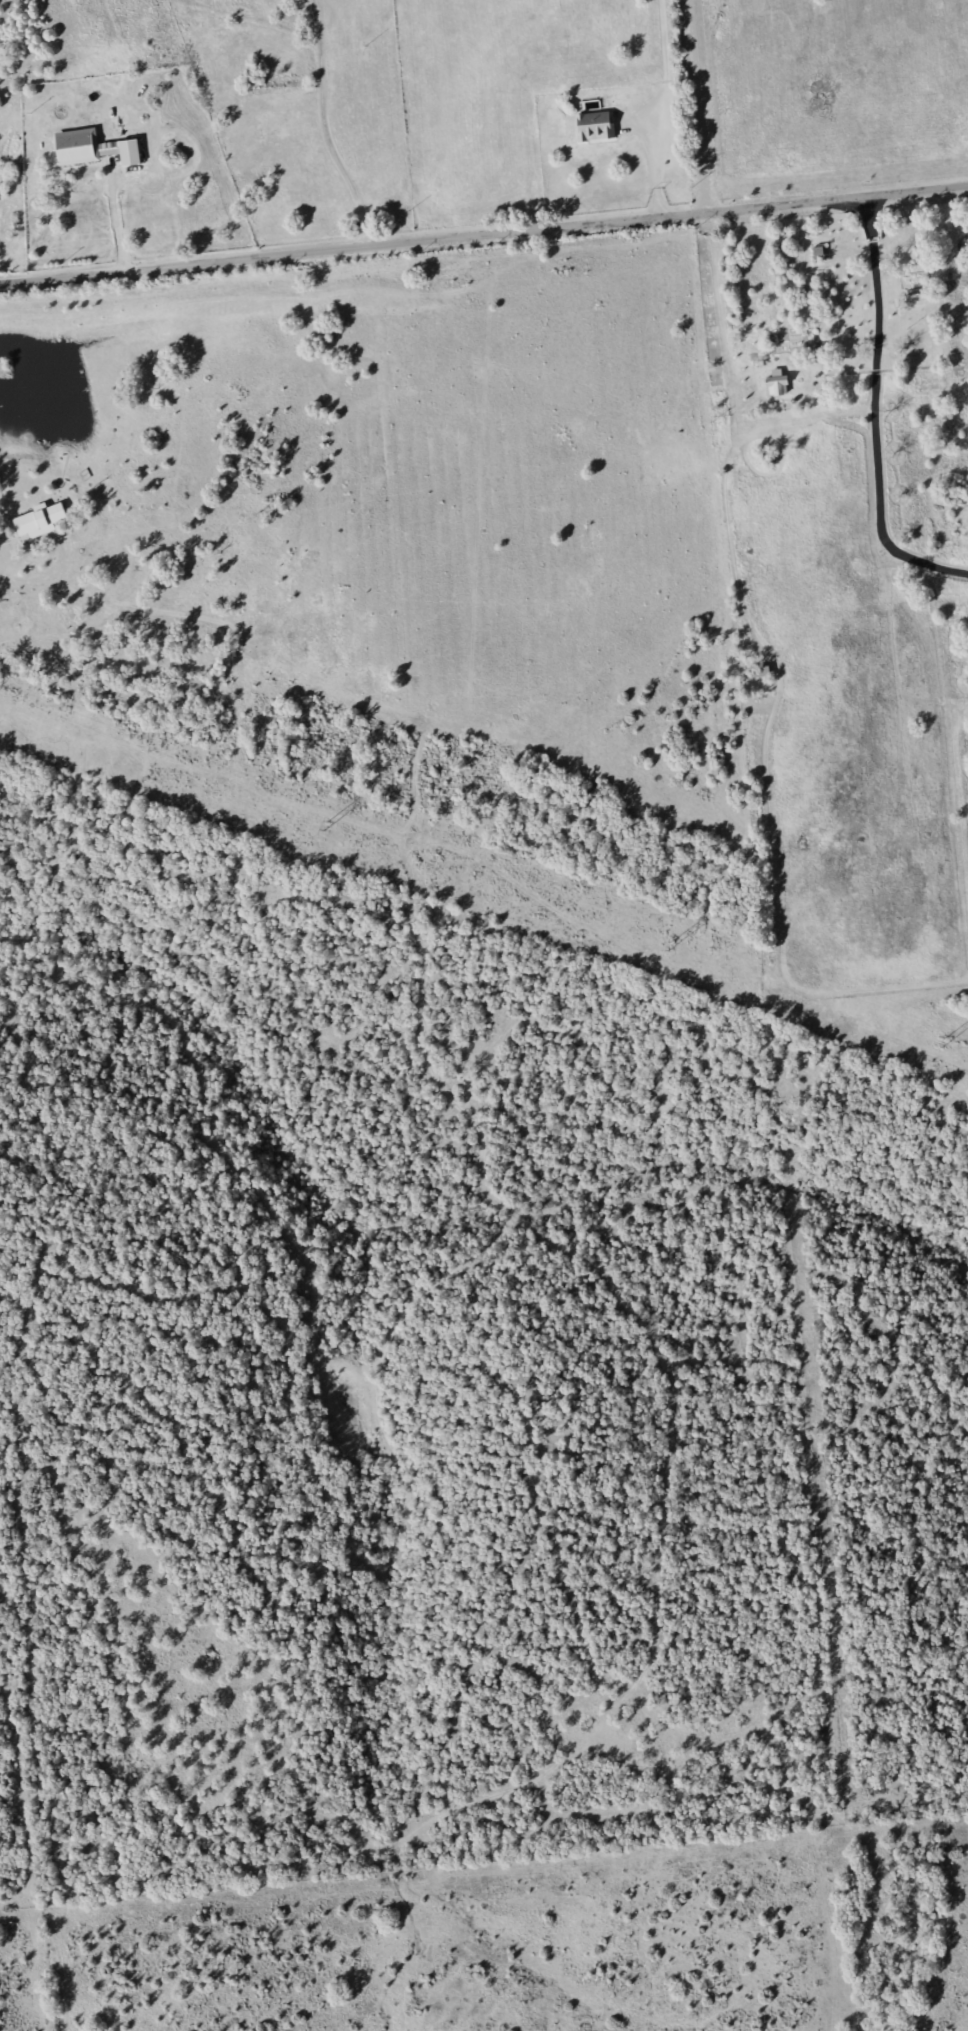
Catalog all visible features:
road: (694, 106)
building: (592, 126)
building: (88, 148)
road: (114, 218)
road: (483, 234)
road: (872, 272)
building: (912, 284)
building: (774, 386)

